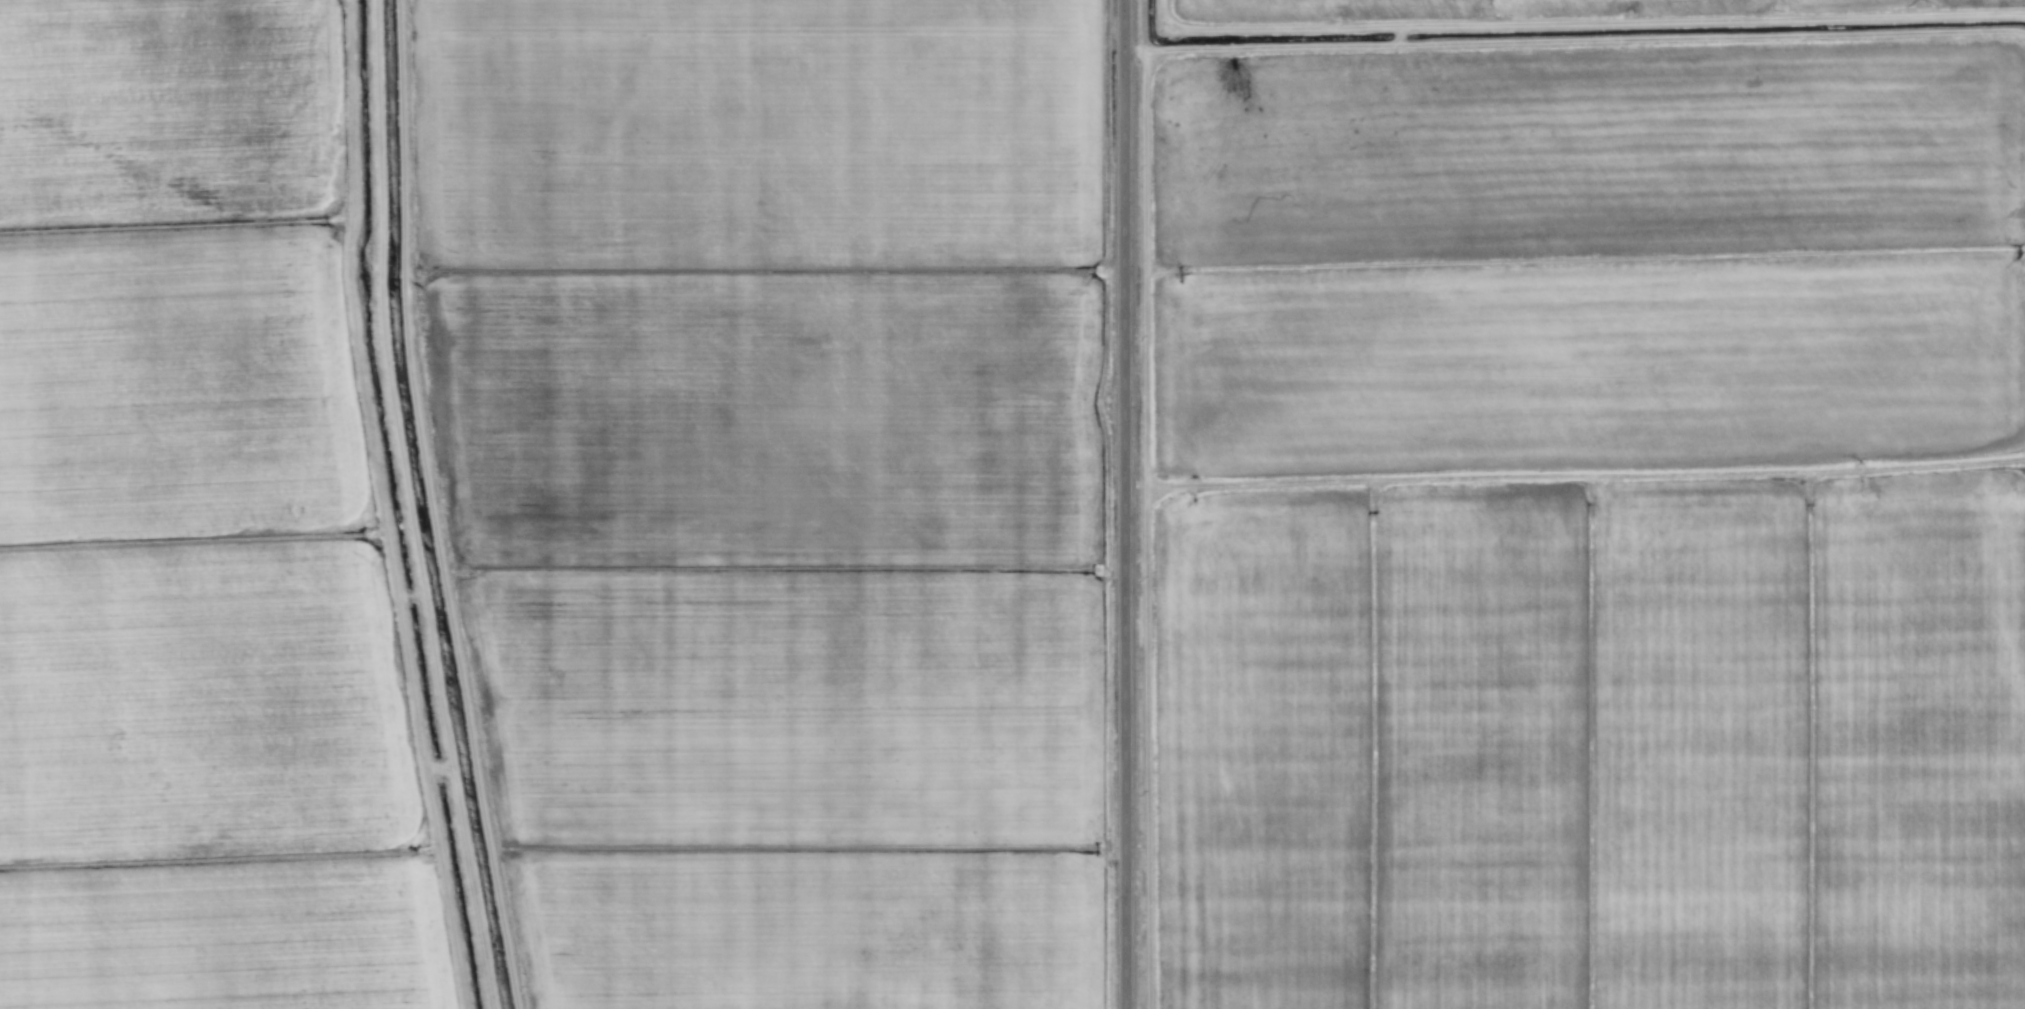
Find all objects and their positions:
road: (1123, 504)

